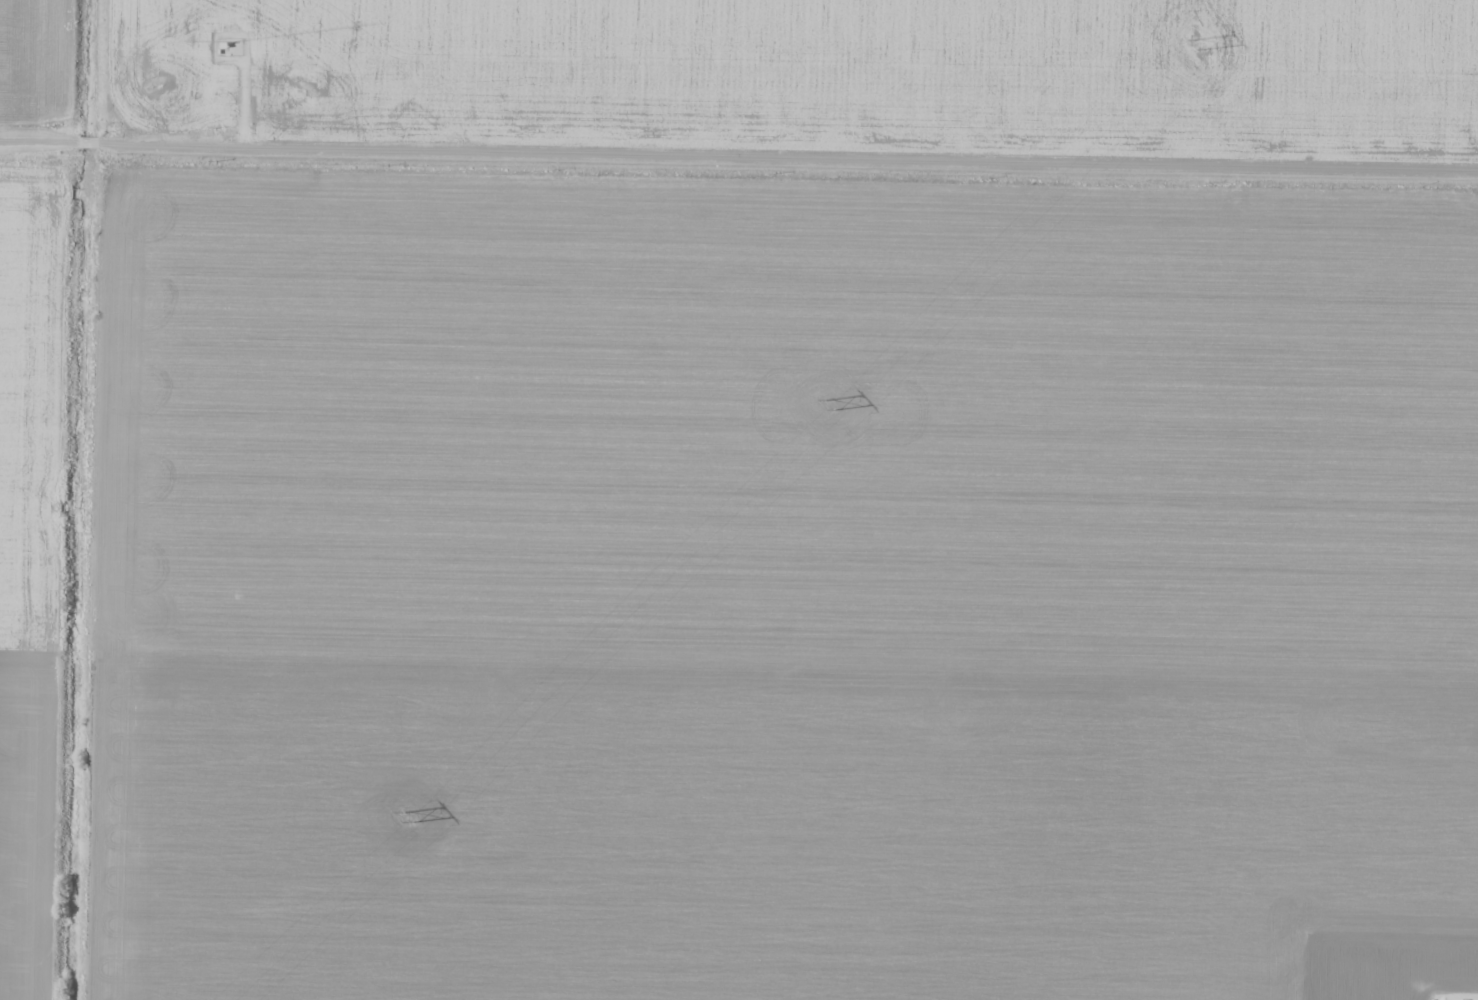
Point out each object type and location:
power tower: (1202, 43)
road: (739, 151)
power tower: (831, 402)
power tower: (414, 817)

